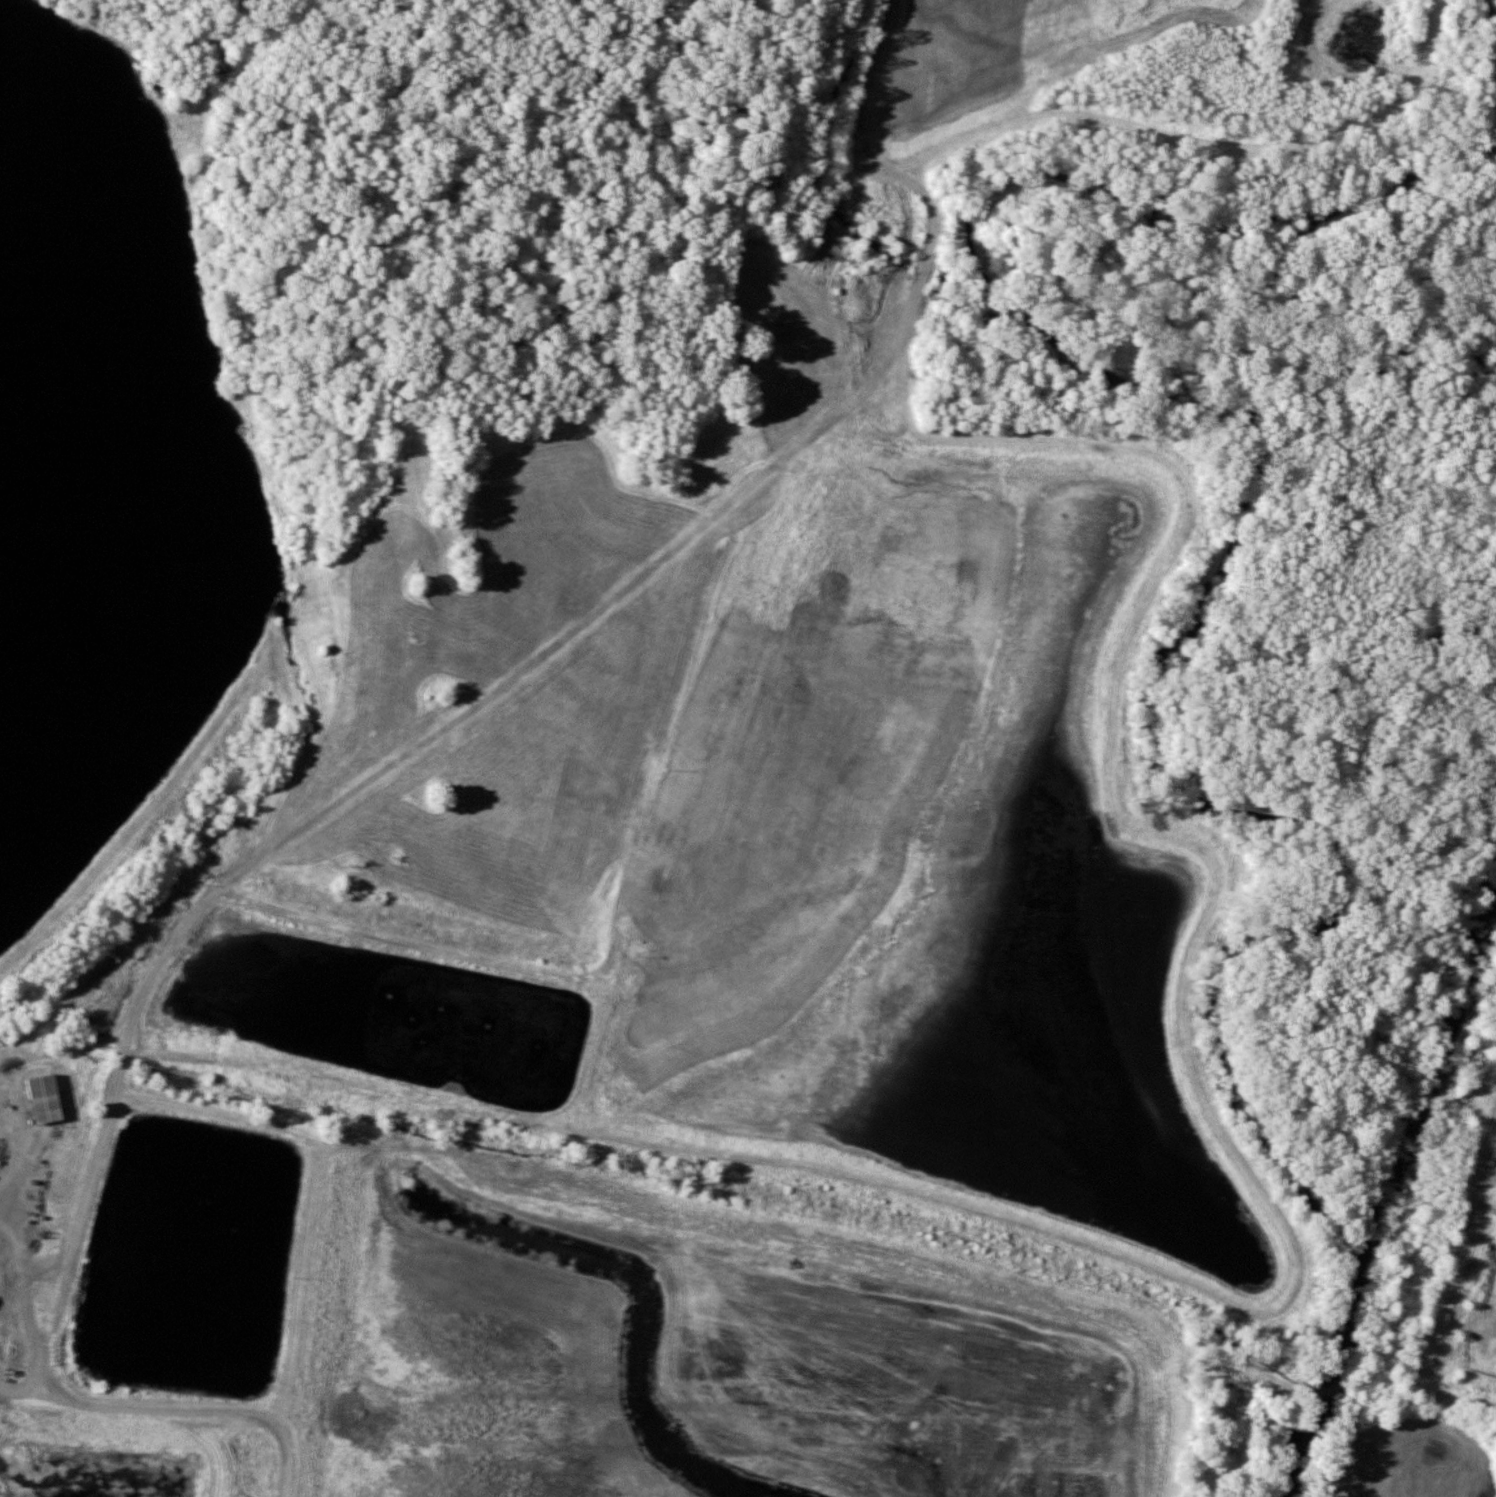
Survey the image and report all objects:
building: (46, 1099)
road: (16, 1180)
river: (1397, 1196)

